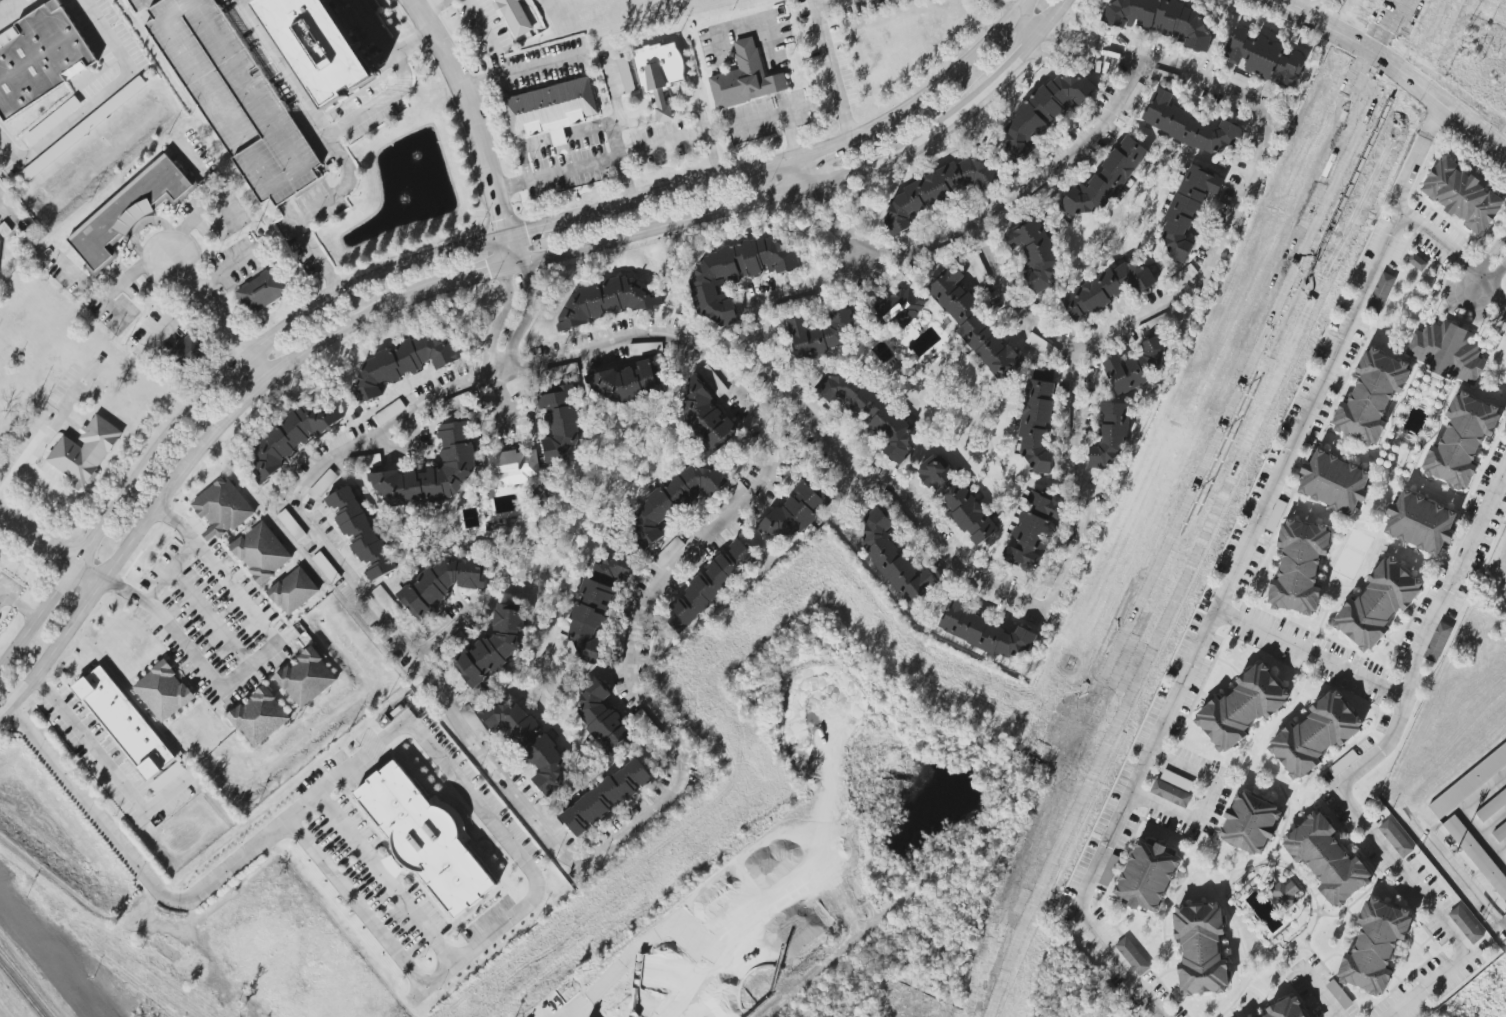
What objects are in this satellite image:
road: (826, 3)
road: (433, 7)
road: (1006, 7)
road: (1316, 10)
building: (514, 16)
road: (753, 20)
building: (1161, 20)
road: (487, 35)
road: (1073, 40)
building: (318, 46)
building: (40, 57)
building: (1264, 57)
road: (1063, 59)
road: (1393, 66)
road: (832, 68)
road: (519, 70)
building: (659, 73)
road: (952, 73)
building: (626, 75)
building: (745, 78)
road: (775, 80)
building: (1240, 80)
road: (402, 81)
building: (235, 98)
road: (98, 100)
road: (780, 100)
road: (698, 107)
building: (551, 109)
road: (471, 113)
road: (664, 113)
road: (952, 113)
road: (770, 114)
building: (1046, 114)
building: (52, 121)
road: (633, 122)
building: (1190, 126)
building: (83, 128)
road: (587, 130)
road: (789, 134)
road: (611, 135)
road: (557, 138)
road: (831, 143)
road: (334, 148)
road: (523, 151)
road: (621, 155)
road: (804, 172)
road: (201, 176)
building: (1105, 179)
road: (687, 186)
building: (938, 188)
road: (1018, 189)
building: (1462, 195)
road: (5, 209)
building: (128, 209)
building: (1185, 211)
road: (199, 216)
road: (835, 216)
road: (541, 227)
road: (815, 229)
road: (1437, 239)
building: (0, 244)
road: (507, 250)
road: (1493, 250)
building: (1035, 253)
building: (1417, 262)
road: (1497, 267)
road: (1199, 269)
road: (1485, 271)
building: (737, 274)
building: (1107, 288)
road: (1497, 290)
building: (1381, 292)
building: (260, 293)
road: (108, 294)
building: (606, 301)
building: (901, 306)
road: (115, 311)
road: (526, 315)
road: (503, 317)
road: (216, 318)
building: (974, 325)
road: (328, 332)
building: (820, 332)
building: (1447, 351)
building: (187, 352)
building: (400, 364)
building: (1137, 365)
building: (627, 383)
road: (205, 393)
road: (504, 396)
road: (768, 396)
building: (1371, 396)
building: (870, 412)
building: (706, 414)
building: (561, 421)
building: (1038, 426)
building: (1109, 435)
road: (40, 439)
building: (1461, 440)
building: (290, 441)
building: (85, 451)
building: (514, 465)
building: (433, 470)
road: (43, 479)
building: (1334, 482)
building: (957, 497)
building: (674, 500)
building: (222, 508)
building: (794, 512)
building: (1275, 515)
building: (1420, 522)
building: (291, 525)
road: (923, 526)
building: (1033, 529)
building: (360, 532)
road: (49, 548)
building: (262, 552)
building: (669, 552)
building: (895, 559)
building: (1299, 567)
building: (326, 568)
road: (1233, 568)
road: (168, 569)
building: (445, 582)
building: (713, 582)
building: (293, 591)
building: (387, 602)
building: (1377, 604)
road: (18, 605)
building: (594, 610)
road: (209, 617)
building: (985, 630)
road: (440, 634)
building: (1438, 642)
building: (495, 643)
road: (1310, 656)
road: (258, 658)
building: (307, 678)
building: (164, 691)
building: (1242, 707)
building: (259, 716)
building: (605, 719)
building: (124, 722)
building: (1315, 735)
building: (528, 740)
road: (106, 763)
building: (1344, 763)
road: (1365, 768)
road: (339, 777)
building: (1468, 782)
building: (1173, 788)
building: (606, 797)
road: (1205, 803)
building: (1492, 806)
building: (1250, 823)
building: (1499, 830)
building: (425, 838)
building: (1396, 838)
road: (584, 855)
building: (1477, 855)
building: (1327, 859)
building: (1109, 870)
building: (1147, 876)
road: (387, 878)
road: (357, 903)
building: (1466, 924)
building: (1375, 946)
building: (1201, 949)
building: (1133, 956)
railway: (27, 983)
railway: (21, 990)
road: (1322, 992)
building: (1339, 994)
building: (1286, 1008)

